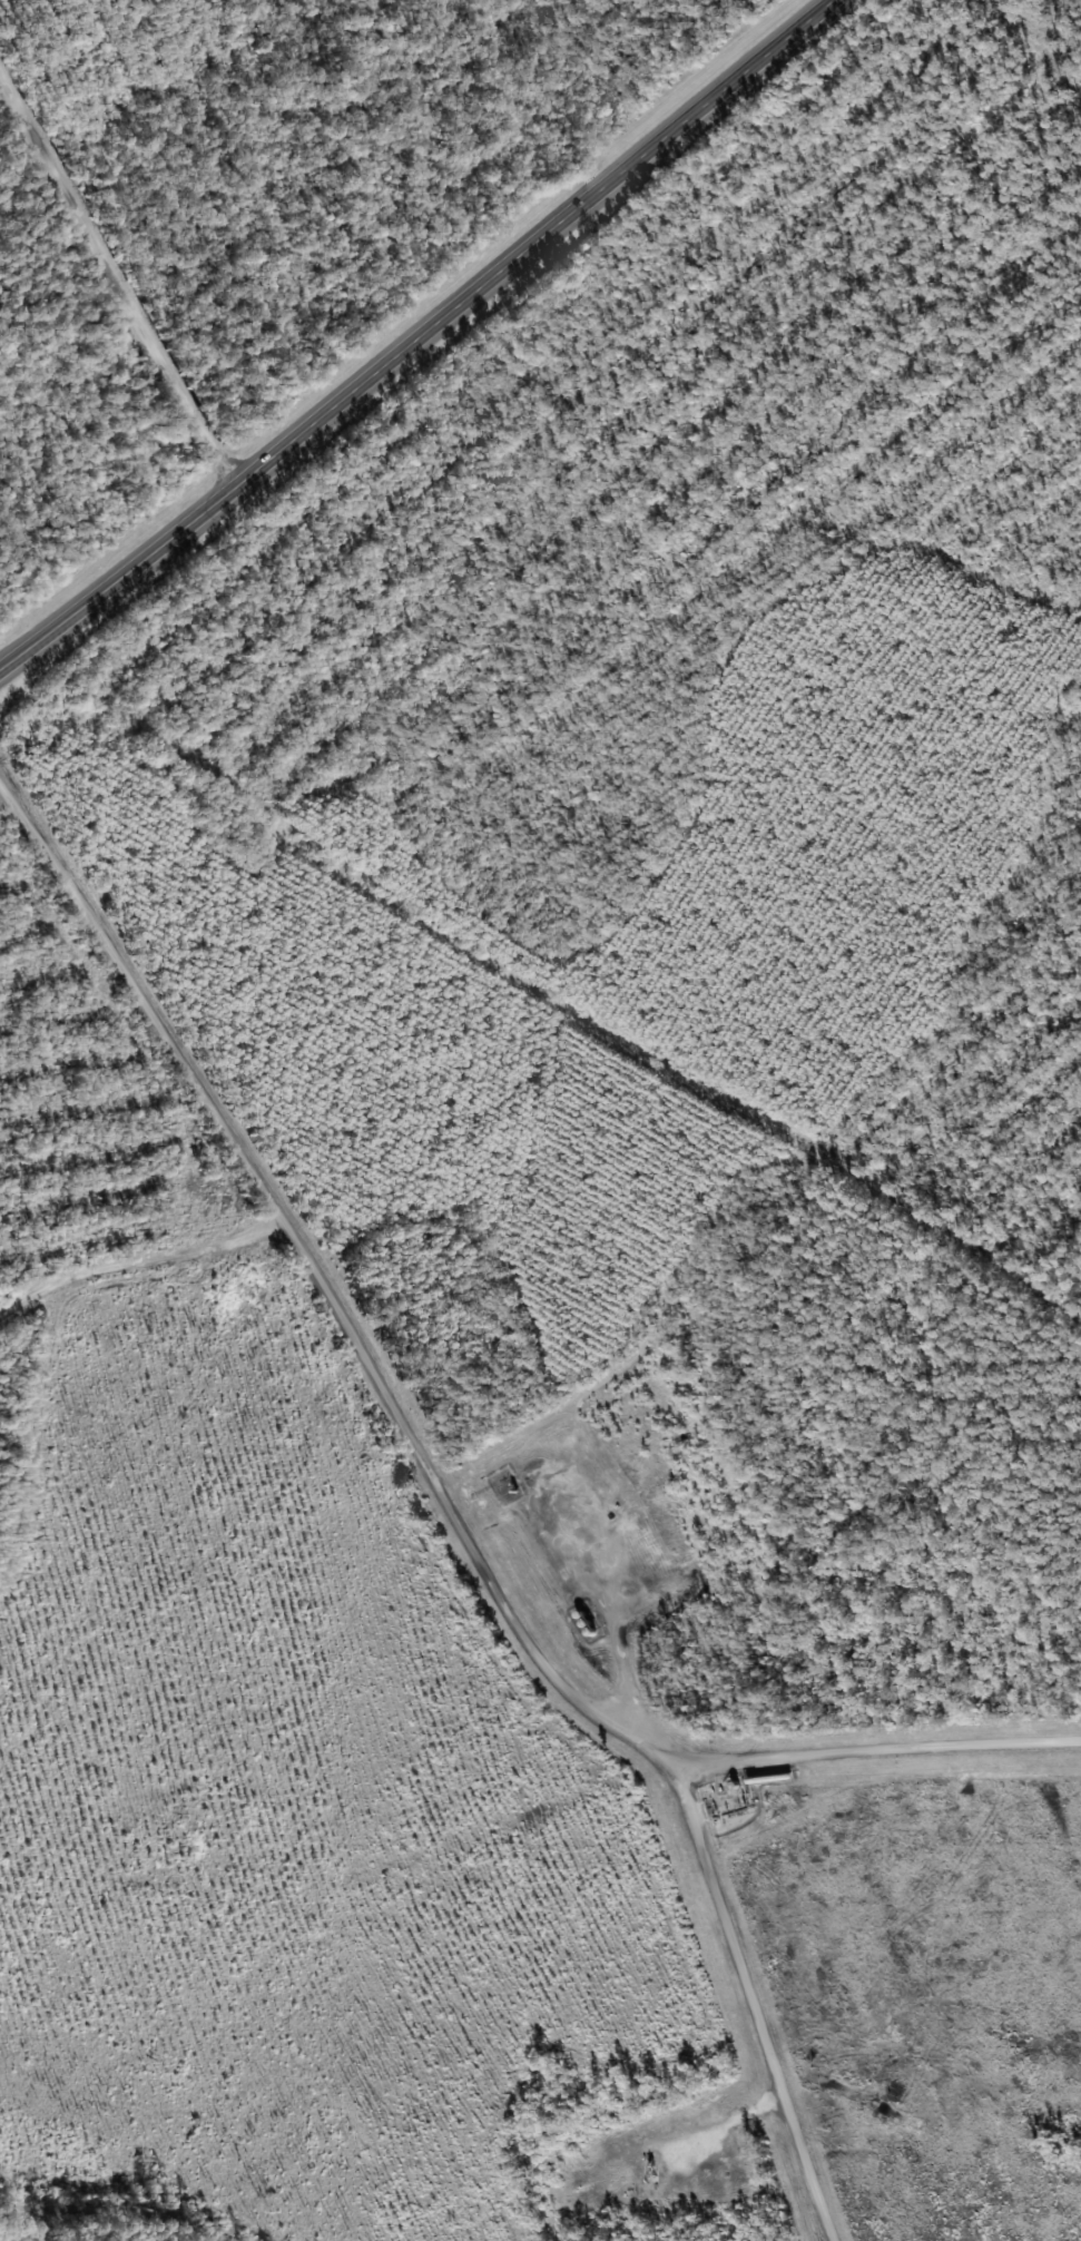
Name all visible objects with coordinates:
road: (132, 247)
road: (438, 346)
road: (428, 1439)
road: (761, 2009)

